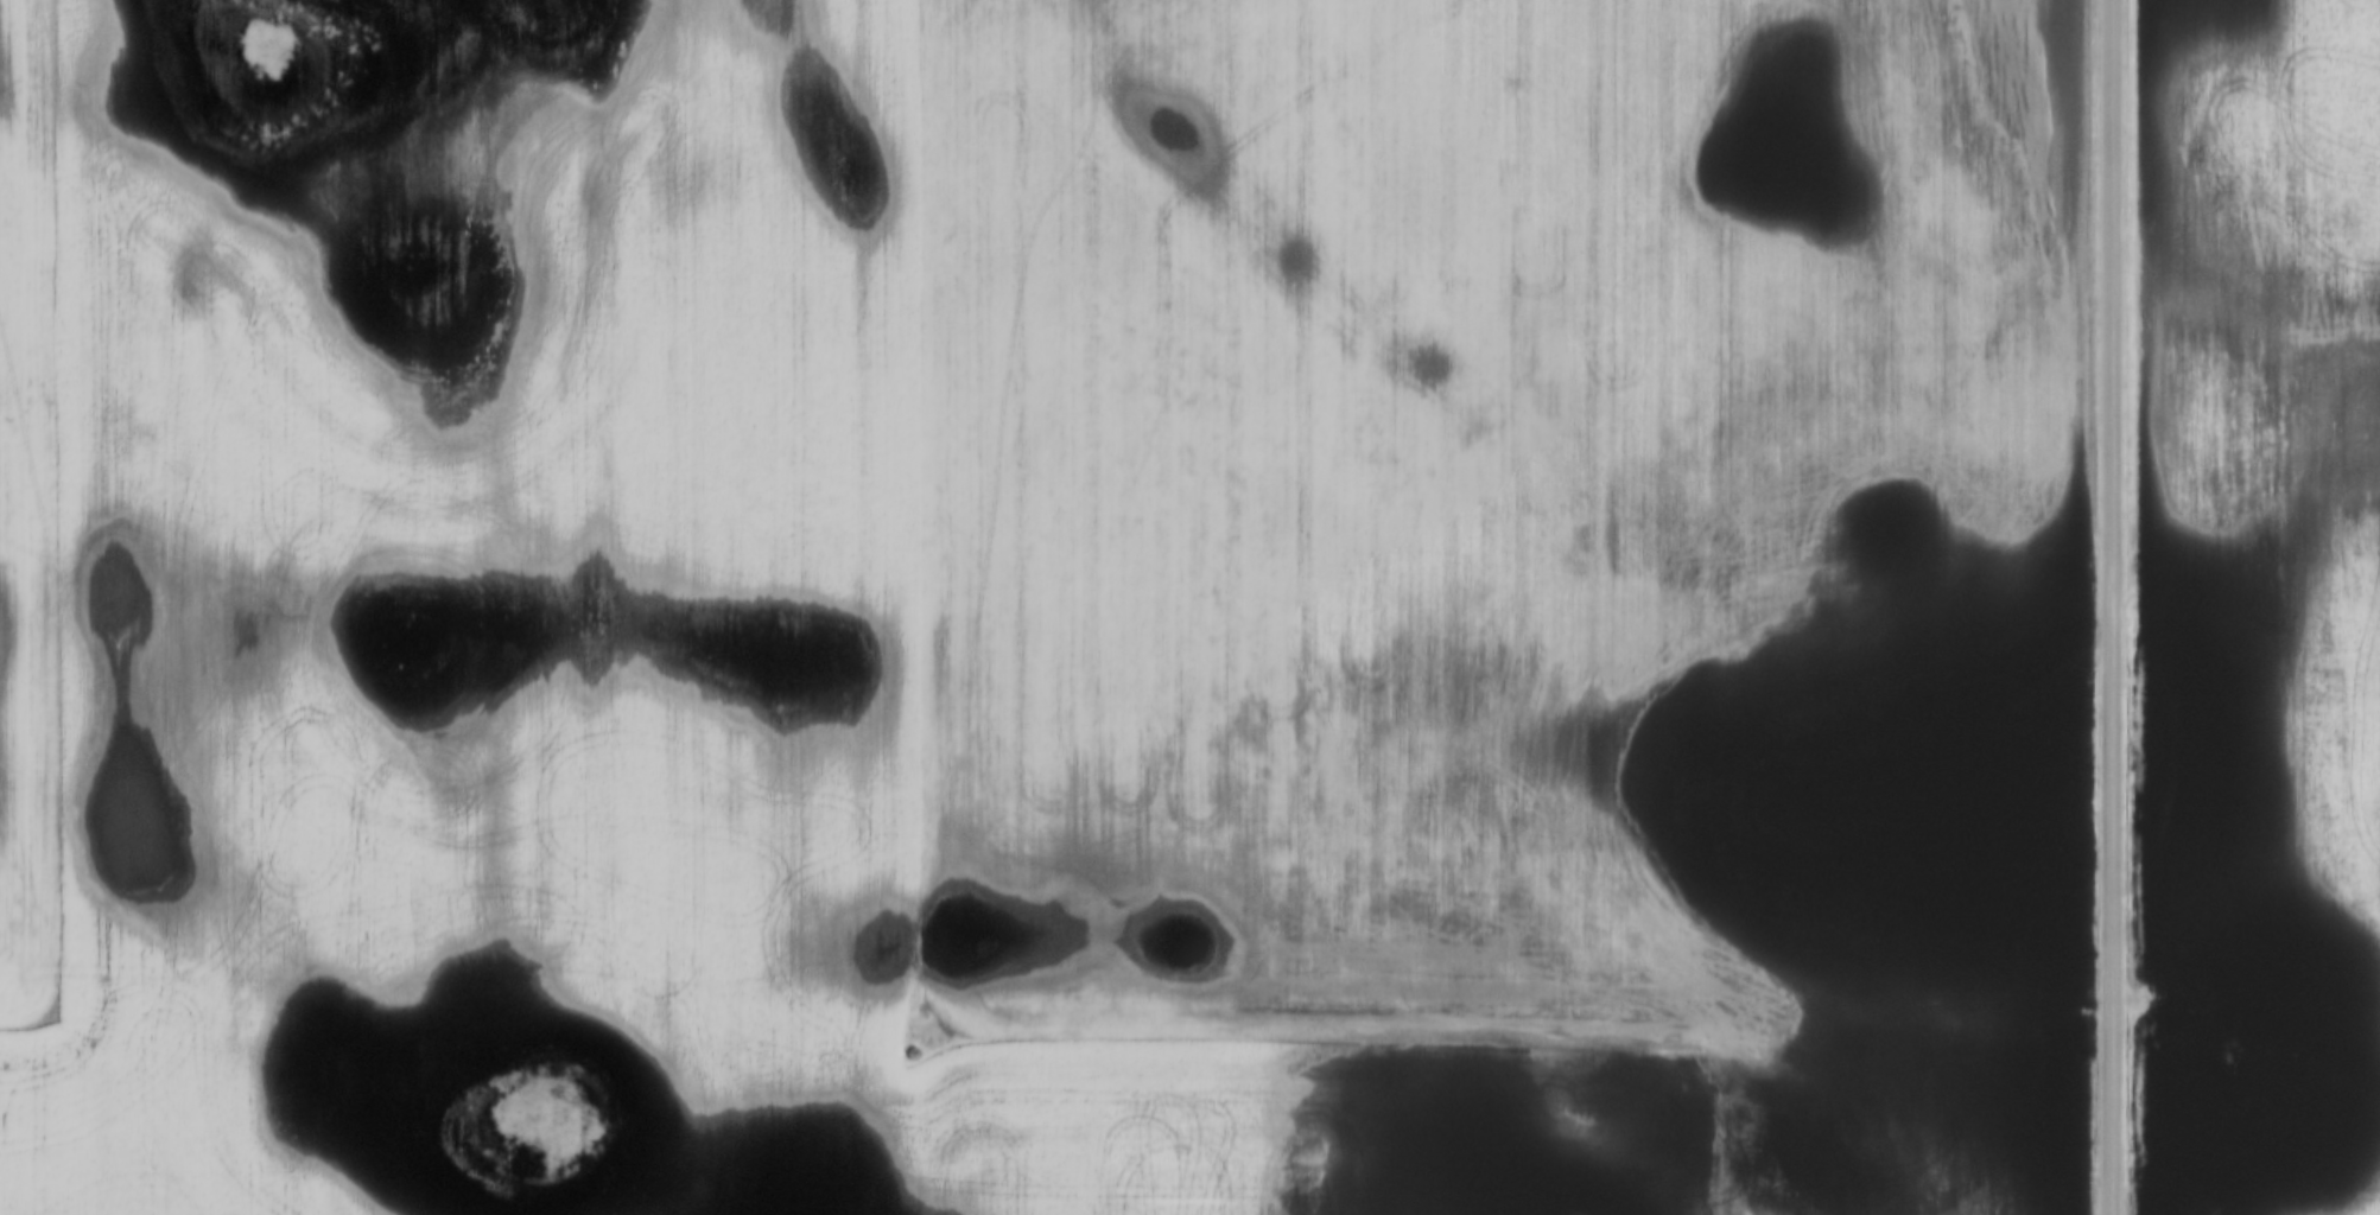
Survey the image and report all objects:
road: (2111, 607)
road: (1562, 1030)

